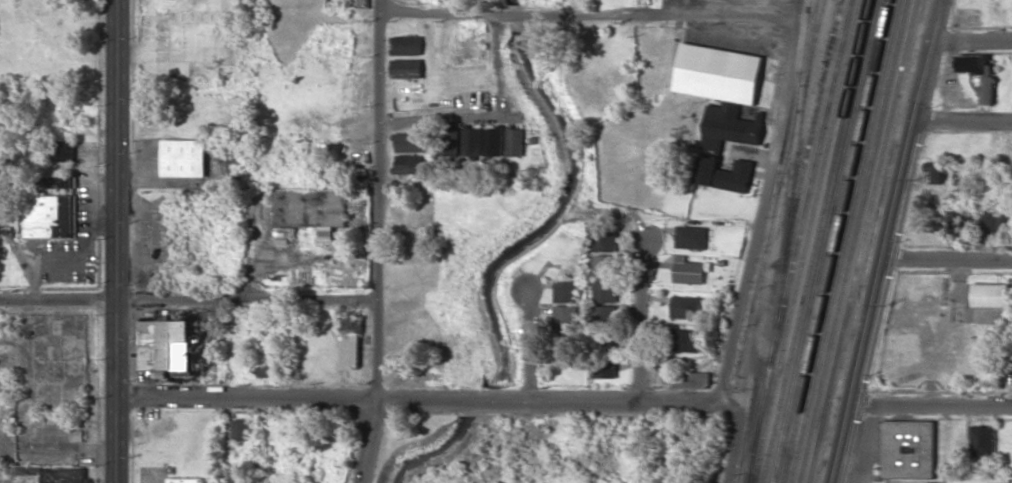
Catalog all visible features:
road: (589, 11)
building: (163, 36)
road: (973, 38)
railway: (811, 41)
building: (406, 45)
building: (407, 68)
building: (988, 89)
building: (723, 107)
road: (445, 117)
road: (963, 122)
railway: (812, 131)
building: (494, 140)
building: (515, 140)
building: (450, 141)
building: (472, 141)
building: (409, 142)
building: (63, 150)
road: (341, 155)
building: (184, 157)
building: (409, 163)
building: (938, 172)
building: (963, 173)
railway: (811, 179)
building: (60, 183)
building: (310, 207)
building: (50, 215)
building: (994, 221)
building: (953, 224)
building: (968, 229)
building: (692, 236)
building: (605, 239)
road: (117, 241)
railway: (787, 241)
railway: (806, 241)
railway: (814, 241)
railway: (824, 241)
railway: (835, 241)
railway: (843, 241)
railway: (853, 241)
railway: (863, 241)
road: (889, 241)
road: (378, 242)
road: (754, 243)
road: (949, 256)
building: (606, 265)
road: (248, 267)
building: (690, 269)
building: (568, 290)
building: (607, 290)
building: (991, 294)
road: (188, 296)
building: (688, 306)
building: (568, 315)
road: (640, 316)
building: (606, 328)
building: (567, 340)
building: (688, 340)
road: (530, 341)
building: (351, 342)
building: (163, 344)
building: (606, 365)
building: (270, 367)
building: (692, 379)
road: (420, 395)
road: (933, 405)
building: (242, 429)
building: (983, 440)
building: (909, 448)
building: (30, 471)
building: (64, 475)
building: (186, 480)

